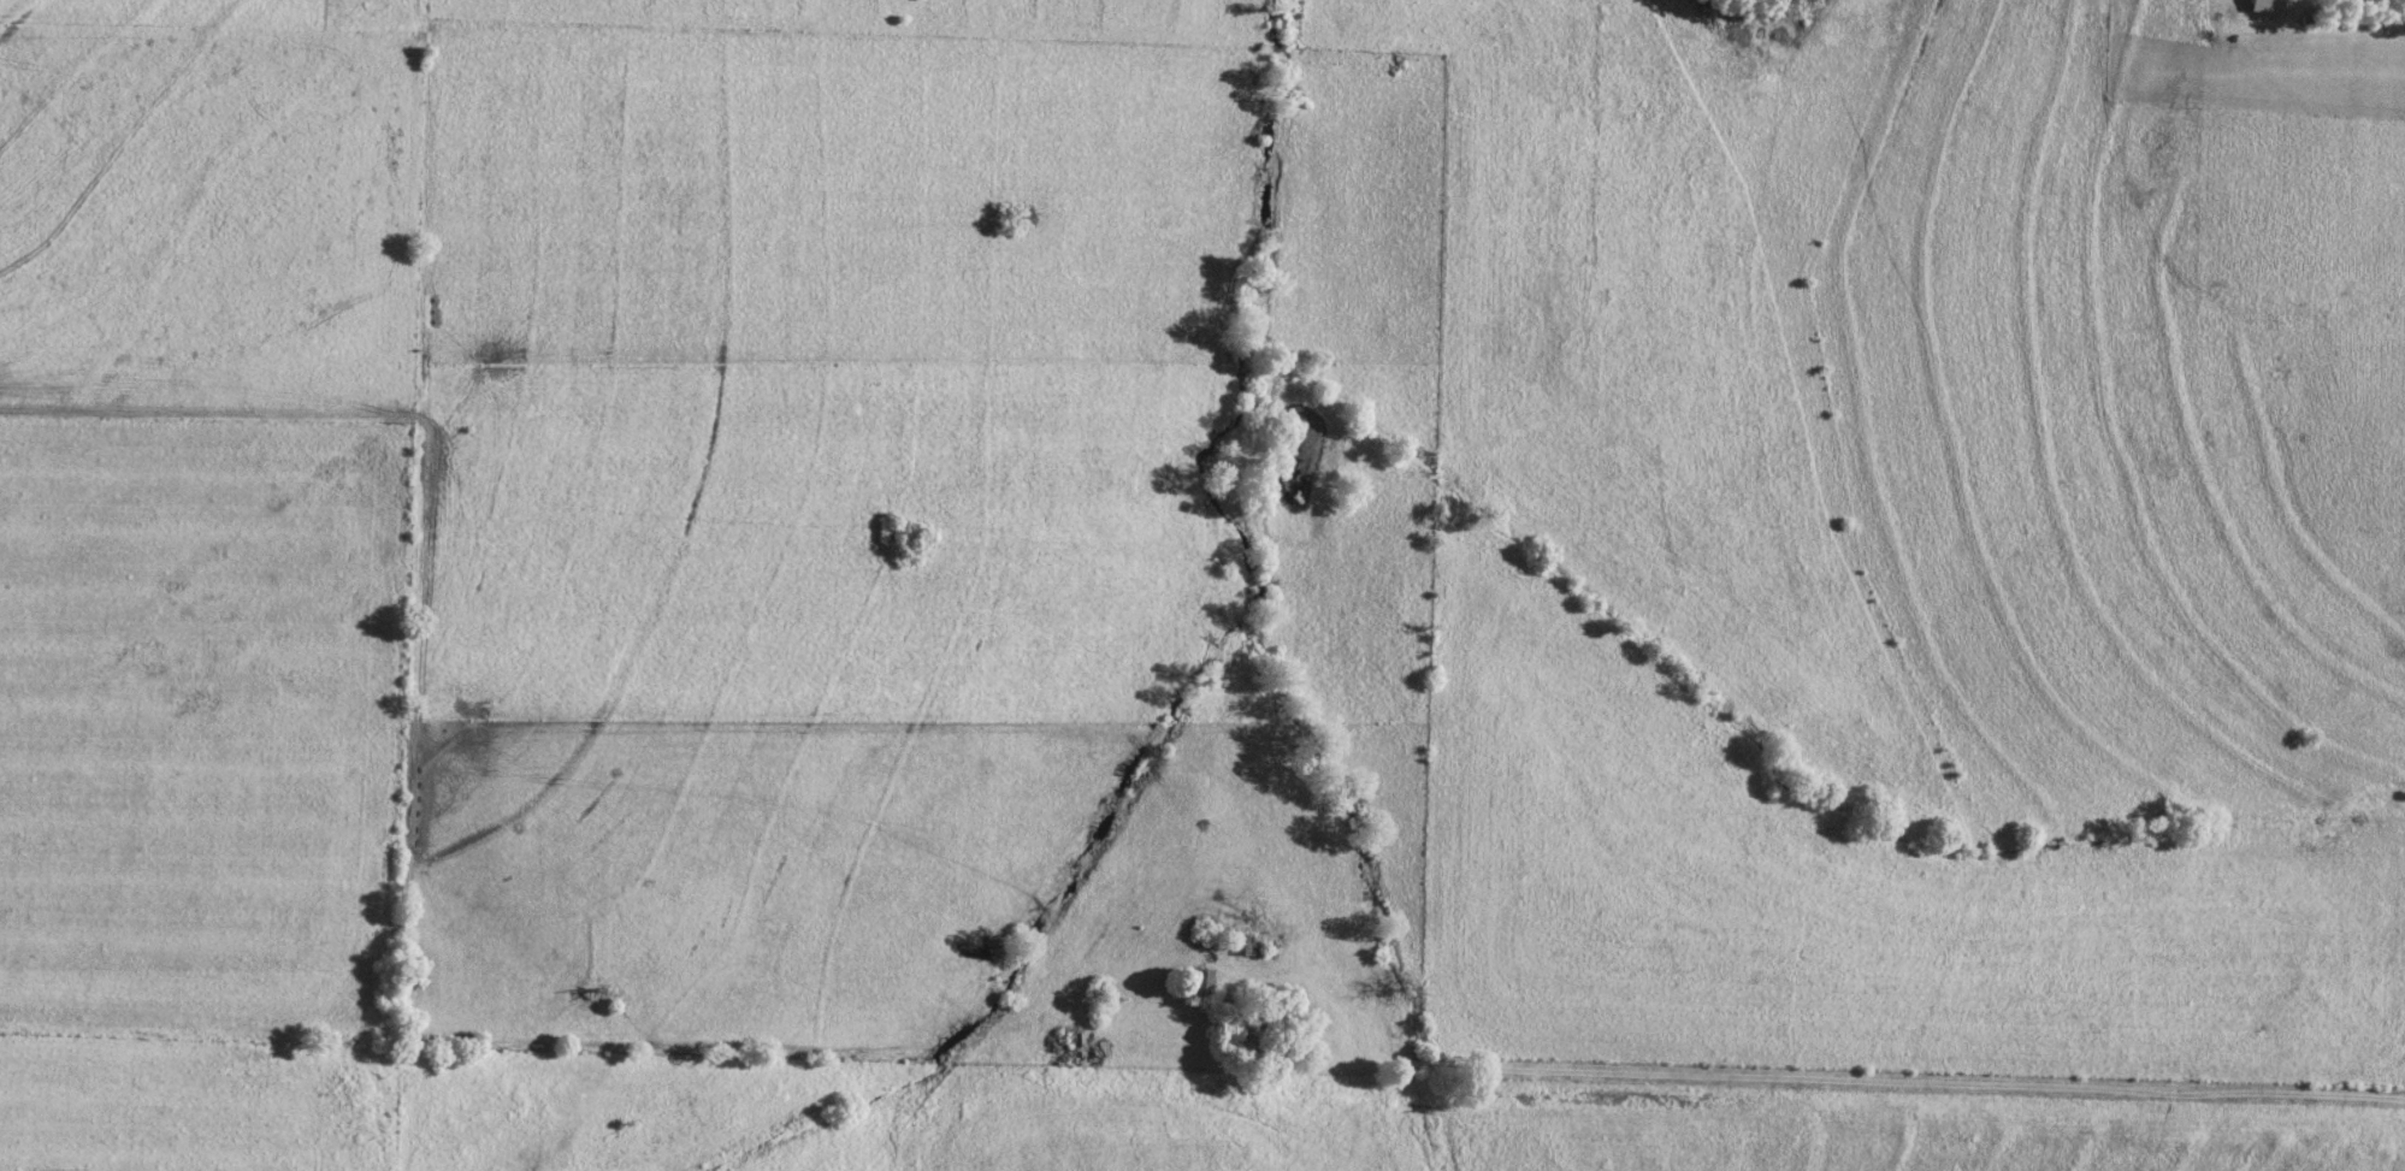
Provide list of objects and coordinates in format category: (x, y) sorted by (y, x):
building: (1243, 945)
building: (1201, 983)

